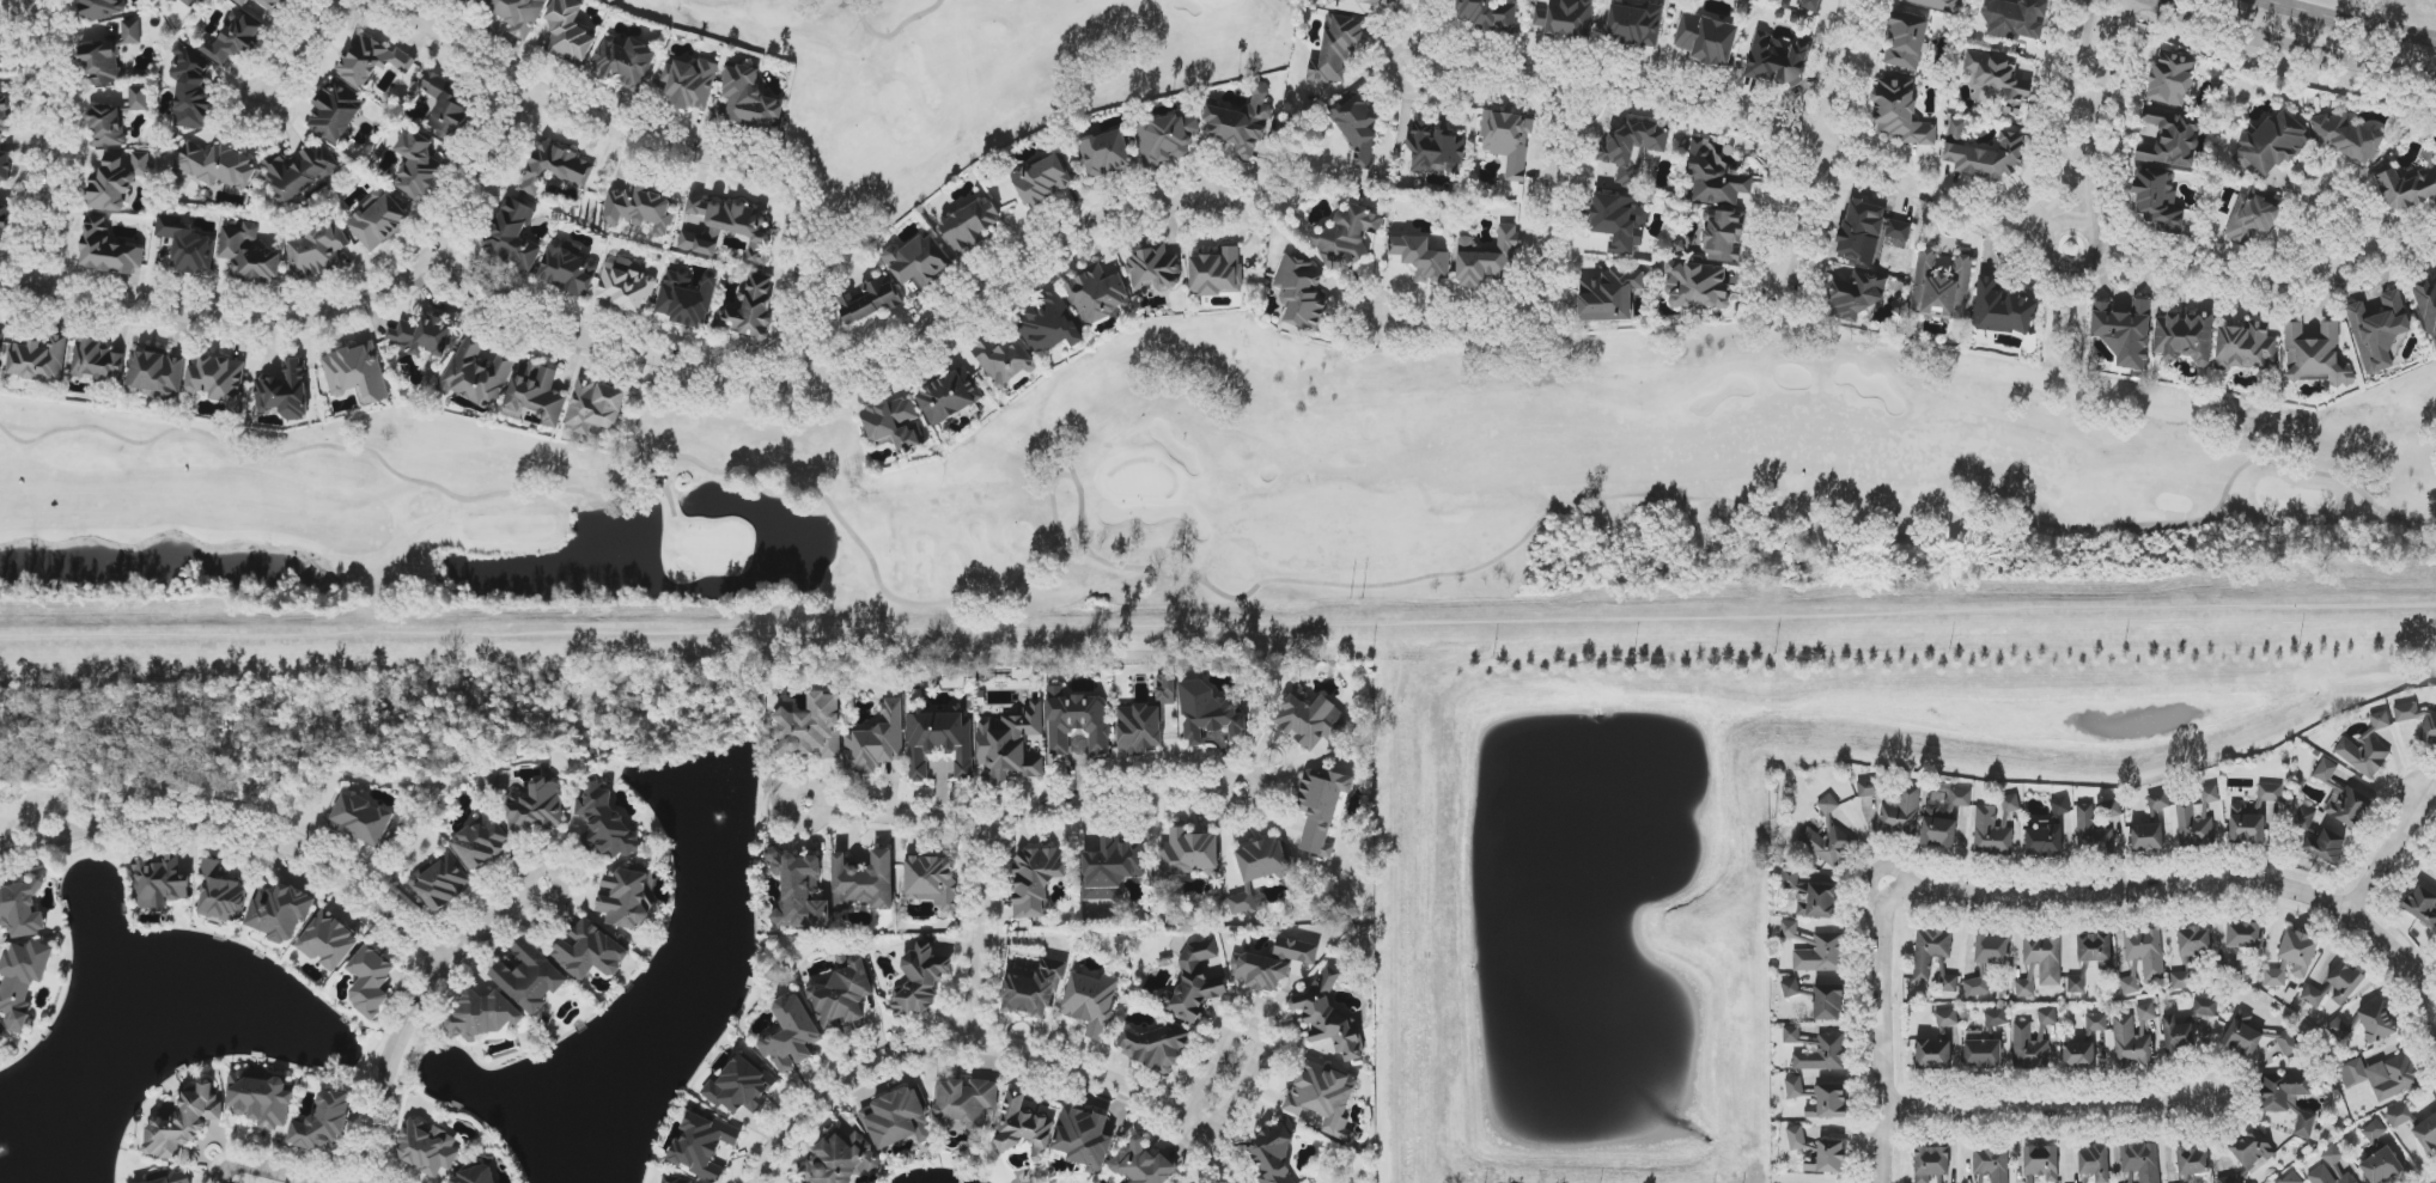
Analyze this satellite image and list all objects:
building: (242, 1)
building: (473, 1)
building: (189, 2)
building: (1937, 4)
building: (272, 5)
building: (1811, 5)
building: (1358, 6)
building: (102, 8)
building: (518, 14)
building: (1486, 16)
road: (1421, 19)
building: (2015, 19)
building: (1566, 20)
road: (2352, 20)
building: (1634, 25)
building: (130, 31)
building: (570, 33)
building: (1706, 38)
building: (233, 39)
building: (1906, 42)
road: (2296, 43)
building: (1336, 50)
road: (298, 51)
building: (1773, 60)
building: (372, 61)
building: (625, 62)
building: (102, 63)
park: (963, 78)
building: (2172, 79)
building: (2000, 80)
building: (690, 84)
building: (191, 89)
road: (2091, 96)
building: (138, 98)
building: (749, 98)
road: (2105, 104)
building: (446, 105)
road: (2076, 105)
building: (336, 110)
building: (4, 114)
road: (1735, 114)
building: (1900, 114)
building: (1241, 123)
building: (106, 127)
building: (1358, 129)
building: (2346, 136)
building: (1167, 138)
building: (2170, 139)
building: (1508, 141)
building: (2272, 144)
road: (53, 145)
road: (671, 145)
road: (1820, 147)
building: (1436, 148)
building: (1632, 150)
building: (1106, 154)
building: (1984, 154)
building: (218, 165)
building: (5, 166)
building: (416, 166)
building: (556, 169)
building: (300, 172)
building: (1716, 178)
building: (116, 181)
building: (1042, 181)
building: (2408, 187)
building: (2158, 201)
road: (2365, 203)
building: (639, 207)
road: (2096, 215)
building: (2255, 217)
building: (378, 220)
building: (1619, 221)
building: (4, 222)
building: (969, 226)
building: (729, 228)
building: (1859, 230)
building: (1899, 231)
building: (513, 236)
building: (1348, 237)
building: (1724, 237)
building: (187, 245)
building: (108, 250)
building: (317, 250)
building: (249, 254)
road: (2356, 255)
building: (1421, 258)
building: (1487, 260)
building: (919, 261)
building: (1153, 268)
building: (567, 269)
building: (1217, 273)
road: (1541, 275)
road: (2276, 282)
building: (1697, 286)
building: (1942, 287)
building: (625, 288)
building: (1301, 293)
building: (1098, 294)
building: (1610, 294)
building: (1857, 297)
building: (686, 299)
building: (867, 301)
building: (2426, 304)
building: (750, 309)
building: (2003, 310)
road: (317, 316)
building: (1050, 323)
building: (2379, 331)
building: (2125, 333)
building: (425, 336)
building: (2185, 337)
building: (2246, 346)
building: (2314, 354)
building: (39, 359)
building: (97, 361)
building: (1004, 361)
building: (156, 372)
building: (357, 372)
building: (477, 372)
road: (833, 373)
building: (219, 379)
building: (285, 392)
building: (537, 392)
building: (949, 396)
building: (595, 405)
building: (895, 423)
park: (1229, 488)
road: (1077, 626)
building: (1210, 716)
building: (1310, 719)
building: (2380, 720)
building: (2418, 720)
building: (1145, 721)
building: (1079, 724)
building: (811, 727)
building: (876, 742)
building: (940, 743)
building: (1011, 746)
building: (2363, 755)
building: (489, 782)
building: (2341, 797)
road: (1084, 803)
road: (784, 804)
building: (1828, 805)
building: (2157, 805)
building: (1894, 806)
building: (536, 807)
building: (1321, 807)
building: (2253, 816)
building: (361, 819)
building: (2198, 819)
building: (2304, 819)
building: (1944, 821)
building: (604, 822)
building: (2097, 827)
building: (1995, 828)
building: (2051, 833)
road: (237, 834)
building: (2146, 837)
building: (480, 843)
building: (1827, 843)
building: (2325, 846)
building: (1188, 854)
road: (2389, 855)
building: (1262, 860)
building: (1113, 867)
road: (562, 876)
building: (1790, 877)
building: (932, 880)
building: (1036, 880)
building: (864, 882)
building: (159, 883)
building: (443, 884)
road: (2194, 888)
building: (800, 891)
building: (221, 895)
building: (627, 897)
building: (1247, 902)
building: (1819, 902)
building: (2422, 905)
building: (22, 909)
building: (281, 913)
building: (1789, 929)
road: (979, 934)
building: (329, 940)
building: (2194, 941)
building: (2241, 945)
building: (1992, 950)
building: (2095, 950)
building: (591, 951)
building: (2145, 951)
building: (2298, 952)
building: (1821, 955)
building: (1935, 961)
building: (1274, 964)
building: (2040, 964)
building: (2274, 976)
building: (530, 977)
building: (1198, 978)
building: (2132, 980)
building: (23, 981)
building: (371, 981)
building: (922, 981)
building: (2181, 981)
building: (2344, 981)
building: (2076, 984)
building: (1790, 987)
building: (1977, 987)
building: (1034, 990)
building: (844, 996)
building: (2313, 996)
building: (1091, 1002)
building: (1828, 1002)
building: (2205, 1007)
building: (2146, 1012)
building: (482, 1017)
building: (2047, 1017)
road: (413, 1018)
building: (1329, 1018)
building: (1947, 1018)
building: (1996, 1018)
building: (2376, 1022)
building: (2096, 1023)
building: (2338, 1030)
road: (1255, 1031)
building: (2178, 1033)
building: (791, 1035)
building: (2242, 1035)
road: (1884, 1037)
building: (2130, 1042)
building: (2286, 1042)
building: (1156, 1047)
building: (2030, 1047)
building: (1831, 1048)
building: (1935, 1051)
building: (1981, 1051)
building: (2079, 1055)
building: (2382, 1077)
road: (841, 1081)
road: (1115, 1084)
building: (741, 1086)
building: (1795, 1087)
building: (2282, 1091)
building: (1323, 1097)
building: (262, 1099)
building: (966, 1100)
building: (1828, 1103)
road: (2050, 1105)
building: (2400, 1116)
building: (899, 1118)
building: (184, 1122)
building: (323, 1123)
building: (2304, 1124)
building: (1024, 1127)
building: (2374, 1132)
building: (2426, 1134)
building: (1796, 1138)
building: (1084, 1139)
building: (702, 1145)
building: (427, 1147)
building: (2252, 1148)
building: (1274, 1153)
building: (1831, 1155)
building: (841, 1159)
building: (2041, 1161)
building: (2142, 1161)
building: (2193, 1161)
building: (1931, 1163)
building: (1992, 1163)
building: (2094, 1163)
building: (1143, 1164)
building: (2381, 1166)
road: (264, 1169)
building: (2331, 1169)
building: (477, 1176)
building: (170, 1177)
building: (2291, 1178)
building: (2184, 1179)
building: (2230, 1179)
building: (675, 1181)

